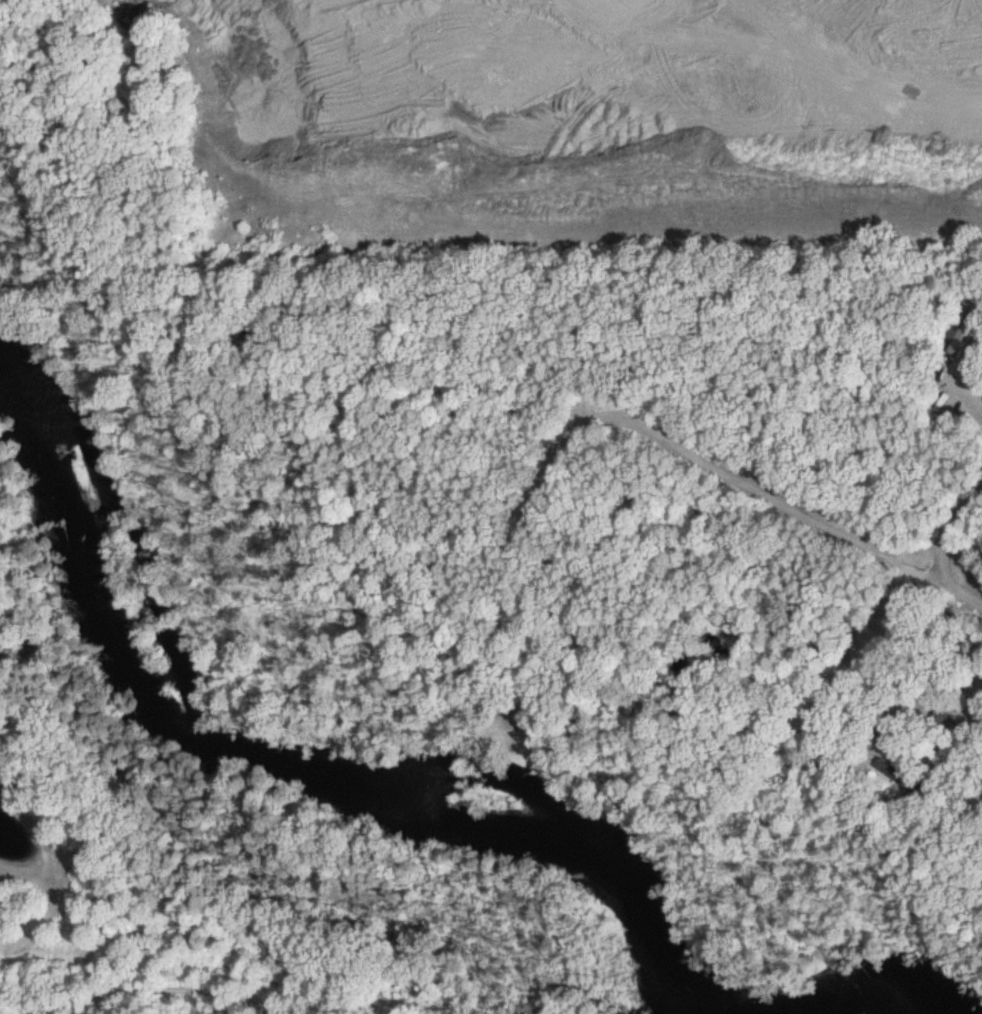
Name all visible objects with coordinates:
quarry: (560, 119)
road: (851, 137)
road: (823, 141)
road: (905, 247)
building: (963, 331)
building: (943, 722)
river: (320, 780)
river: (862, 1000)

